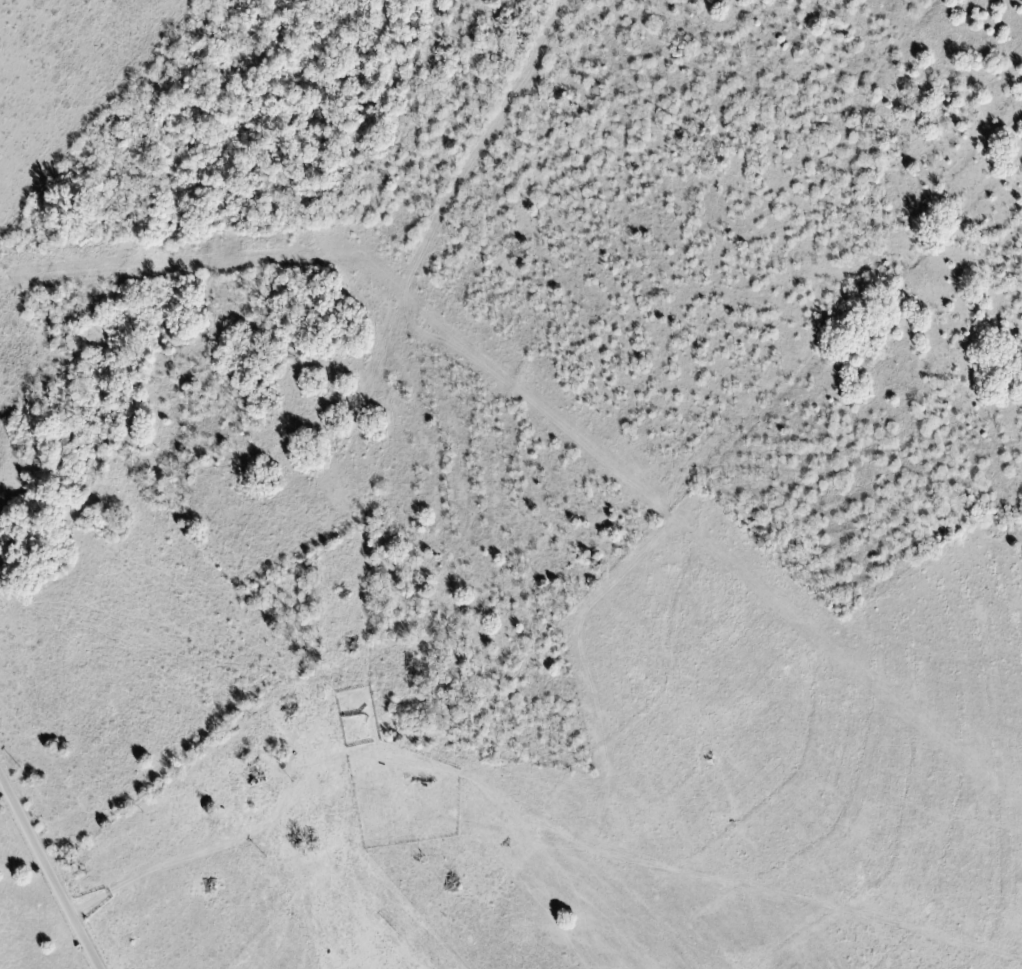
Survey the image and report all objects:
road: (226, 856)
road: (52, 866)

